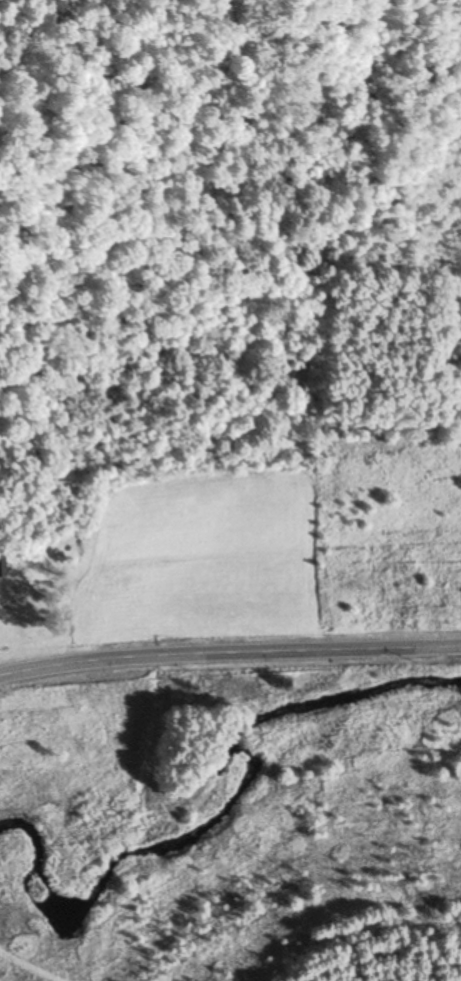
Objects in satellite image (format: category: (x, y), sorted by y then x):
road: (229, 654)

